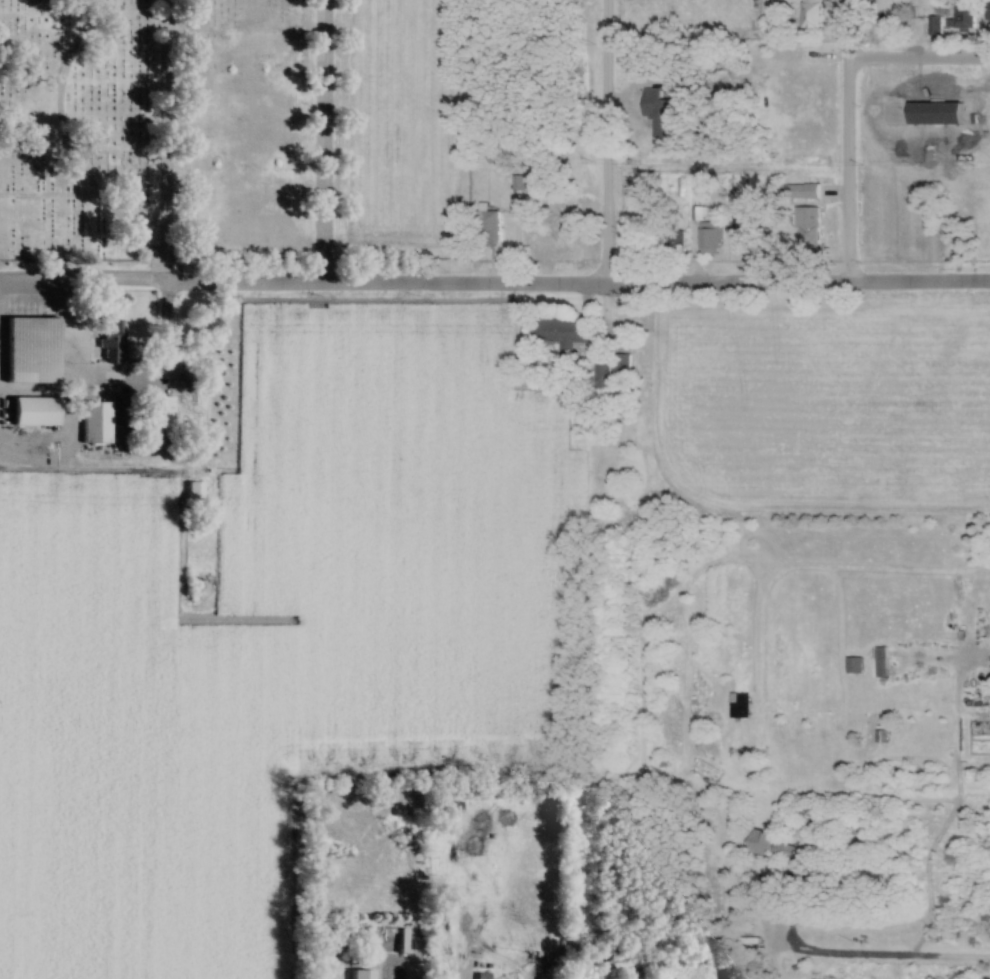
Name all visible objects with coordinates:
building: (961, 15)
building: (811, 16)
building: (932, 25)
road: (915, 61)
road: (60, 79)
park: (227, 138)
road: (160, 142)
road: (322, 142)
road: (597, 143)
road: (840, 143)
building: (496, 152)
building: (521, 184)
road: (92, 195)
building: (646, 221)
building: (491, 226)
building: (807, 227)
building: (743, 232)
building: (709, 237)
road: (80, 284)
road: (574, 285)
building: (567, 331)
building: (112, 340)
building: (31, 350)
road: (80, 385)
building: (33, 411)
building: (120, 411)
building: (159, 416)
building: (95, 422)
building: (190, 491)
building: (880, 661)
building: (852, 664)
building: (764, 843)
building: (613, 958)
building: (354, 975)

